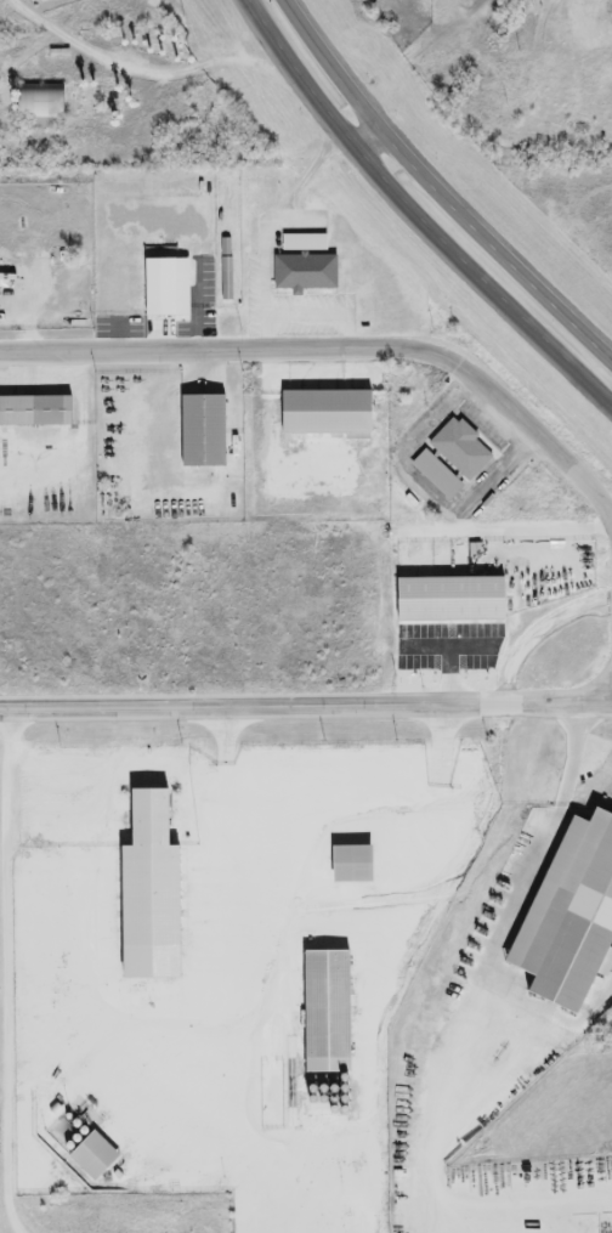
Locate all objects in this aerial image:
building: (36, 106)
road: (367, 142)
road: (436, 194)
road: (413, 216)
building: (302, 273)
building: (164, 287)
road: (222, 351)
building: (34, 412)
road: (534, 431)
building: (199, 432)
building: (459, 451)
building: (435, 476)
road: (306, 709)
road: (594, 758)
road: (334, 802)
road: (497, 968)
road: (532, 1068)

